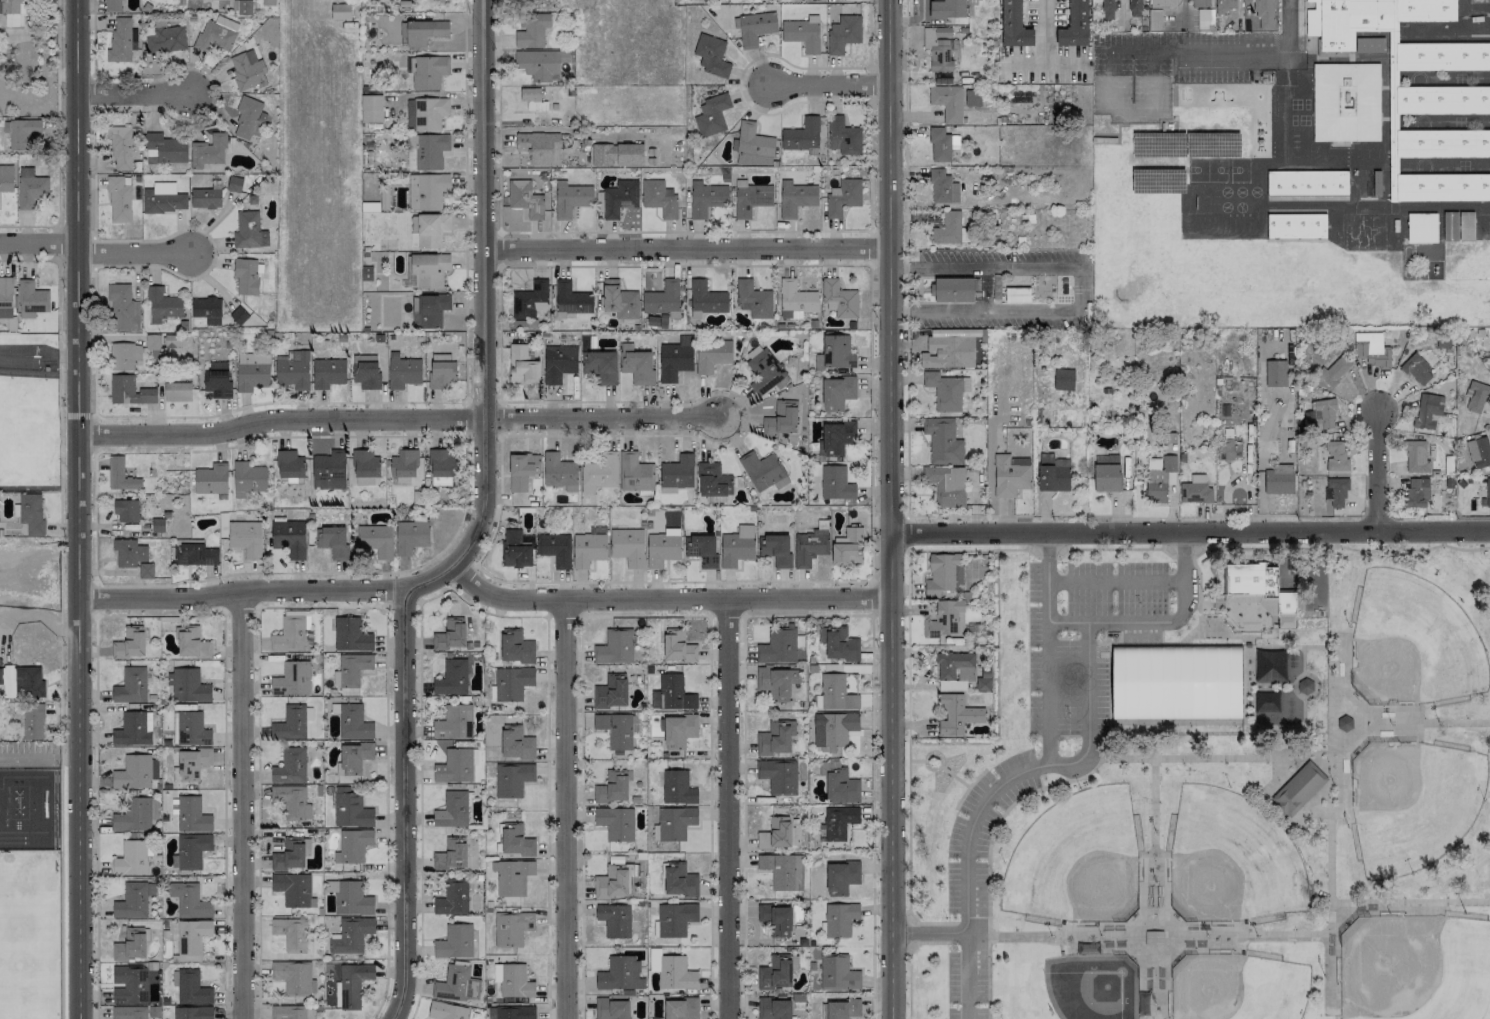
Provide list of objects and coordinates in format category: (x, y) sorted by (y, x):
building: (267, 2)
building: (1162, 3)
building: (1201, 3)
building: (112, 6)
building: (1224, 6)
building: (243, 7)
building: (1135, 8)
building: (947, 9)
building: (1107, 9)
road: (1120, 9)
road: (1182, 10)
building: (340, 11)
building: (13, 12)
building: (1264, 14)
building: (1155, 18)
building: (1014, 25)
building: (1074, 25)
building: (754, 27)
building: (532, 30)
building: (422, 32)
building: (802, 33)
building: (843, 33)
building: (216, 34)
building: (164, 38)
building: (121, 40)
building: (1369, 45)
road: (1040, 48)
building: (941, 50)
road: (1221, 52)
building: (711, 55)
building: (1441, 57)
building: (540, 63)
road: (1025, 63)
building: (243, 71)
building: (427, 71)
road: (829, 85)
road: (132, 94)
building: (532, 98)
building: (1441, 100)
building: (947, 102)
building: (1345, 102)
building: (371, 109)
building: (425, 113)
building: (711, 115)
building: (247, 116)
building: (22, 133)
building: (802, 135)
building: (843, 137)
building: (1440, 144)
building: (941, 145)
building: (753, 146)
building: (120, 147)
building: (539, 148)
building: (164, 149)
building: (208, 151)
building: (431, 151)
building: (616, 155)
building: (6, 178)
building: (233, 184)
building: (942, 187)
building: (1441, 187)
building: (30, 188)
building: (426, 191)
building: (843, 197)
building: (163, 198)
building: (205, 198)
building: (570, 198)
building: (619, 198)
building: (659, 198)
building: (706, 198)
building: (750, 198)
building: (796, 198)
building: (118, 200)
building: (525, 200)
building: (1296, 226)
building: (1466, 226)
building: (1421, 228)
building: (431, 230)
building: (950, 230)
building: (249, 231)
road: (38, 244)
road: (688, 249)
road: (131, 254)
road: (984, 268)
building: (429, 269)
building: (366, 273)
building: (245, 277)
building: (995, 288)
building: (952, 290)
road: (1081, 290)
building: (5, 298)
building: (571, 298)
building: (31, 299)
building: (663, 299)
building: (706, 299)
building: (753, 299)
building: (838, 299)
building: (530, 300)
building: (619, 300)
building: (795, 300)
building: (162, 305)
building: (122, 308)
building: (206, 309)
building: (431, 310)
road: (983, 311)
building: (238, 315)
road: (483, 315)
building: (173, 341)
building: (151, 342)
building: (1442, 342)
building: (949, 349)
building: (1371, 349)
building: (835, 353)
building: (711, 355)
building: (124, 356)
road: (38, 357)
building: (675, 359)
building: (558, 363)
building: (521, 365)
building: (636, 365)
building: (600, 367)
building: (1416, 369)
building: (1334, 370)
building: (251, 371)
building: (293, 371)
building: (402, 371)
building: (441, 371)
building: (764, 372)
building: (328, 373)
building: (1275, 373)
building: (366, 374)
building: (217, 379)
building: (1063, 379)
building: (129, 391)
building: (946, 391)
building: (177, 392)
building: (836, 392)
building: (1476, 397)
building: (1428, 410)
building: (1324, 416)
building: (781, 418)
road: (398, 419)
park: (24, 421)
building: (835, 438)
building: (942, 441)
building: (1230, 446)
building: (1479, 452)
road: (906, 454)
building: (1335, 457)
building: (1416, 457)
building: (441, 463)
road: (1261, 464)
building: (289, 465)
building: (404, 466)
building: (365, 467)
building: (328, 470)
building: (521, 471)
building: (598, 471)
building: (763, 471)
building: (558, 472)
road: (1376, 472)
building: (634, 473)
building: (1052, 473)
building: (676, 474)
building: (1010, 475)
building: (1107, 475)
building: (120, 476)
building: (248, 477)
building: (211, 479)
building: (712, 480)
building: (1160, 480)
building: (440, 481)
building: (1278, 482)
building: (835, 483)
building: (946, 484)
building: (1195, 490)
building: (1336, 491)
building: (1416, 492)
building: (1488, 492)
road: (78, 509)
road: (890, 509)
building: (126, 510)
building: (31, 513)
road: (1190, 532)
building: (411, 536)
building: (245, 538)
building: (289, 538)
building: (375, 539)
building: (333, 541)
building: (627, 546)
building: (736, 546)
building: (809, 547)
building: (848, 548)
building: (554, 549)
building: (587, 549)
building: (661, 549)
building: (775, 549)
building: (515, 550)
building: (701, 550)
building: (128, 553)
building: (194, 554)
building: (145, 570)
building: (943, 574)
road: (1116, 582)
building: (1258, 589)
road: (241, 591)
road: (666, 598)
building: (944, 619)
road: (1067, 622)
building: (290, 634)
building: (450, 634)
building: (350, 635)
road: (1048, 637)
building: (129, 643)
building: (191, 643)
building: (838, 643)
park: (1413, 643)
building: (677, 646)
building: (515, 647)
building: (614, 647)
building: (777, 647)
building: (1269, 666)
building: (351, 669)
building: (954, 671)
building: (452, 678)
building: (291, 679)
building: (22, 681)
building: (773, 682)
building: (1175, 682)
building: (512, 683)
building: (187, 685)
building: (1304, 685)
building: (131, 686)
building: (611, 692)
building: (836, 693)
building: (672, 694)
building: (1266, 702)
building: (956, 714)
building: (32, 721)
building: (353, 723)
building: (453, 723)
building: (290, 724)
building: (833, 728)
building: (133, 729)
building: (192, 729)
building: (617, 729)
building: (678, 731)
building: (776, 737)
building: (516, 743)
building: (353, 758)
road: (39, 759)
road: (1076, 761)
building: (192, 764)
building: (454, 766)
building: (290, 767)
building: (133, 773)
building: (778, 776)
building: (512, 779)
road: (403, 784)
building: (612, 787)
building: (677, 787)
building: (841, 787)
building: (1298, 789)
park: (1215, 792)
building: (292, 801)
park: (1414, 804)
road: (241, 805)
road: (726, 808)
building: (350, 809)
road: (565, 809)
building: (452, 810)
building: (189, 814)
building: (134, 815)
building: (839, 821)
building: (615, 823)
building: (675, 823)
building: (776, 833)
building: (516, 840)
building: (352, 845)
building: (190, 850)
road: (1329, 853)
building: (451, 855)
building: (131, 858)
park: (1232, 860)
park: (1077, 862)
building: (783, 871)
building: (513, 877)
building: (841, 877)
building: (679, 880)
building: (611, 883)
building: (293, 889)
building: (452, 898)
building: (352, 899)
building: (133, 900)
building: (189, 900)
building: (675, 919)
building: (776, 919)
building: (840, 919)
building: (614, 920)
building: (512, 928)
road: (929, 933)
building: (290, 934)
park: (29, 935)
building: (351, 935)
building: (1153, 938)
building: (191, 939)
building: (454, 942)
building: (131, 945)
park: (1415, 968)
building: (775, 973)
building: (837, 973)
building: (620, 974)
building: (675, 974)
building: (293, 977)
building: (512, 980)
park: (1084, 983)
building: (353, 984)
building: (456, 984)
building: (130, 985)
building: (190, 988)
park: (1238, 988)
road: (395, 998)
building: (854, 1007)
building: (774, 1008)
building: (611, 1009)
building: (681, 1009)
building: (835, 1010)
building: (446, 1011)
building: (129, 1012)
building: (192, 1012)
building: (288, 1012)
building: (511, 1012)

